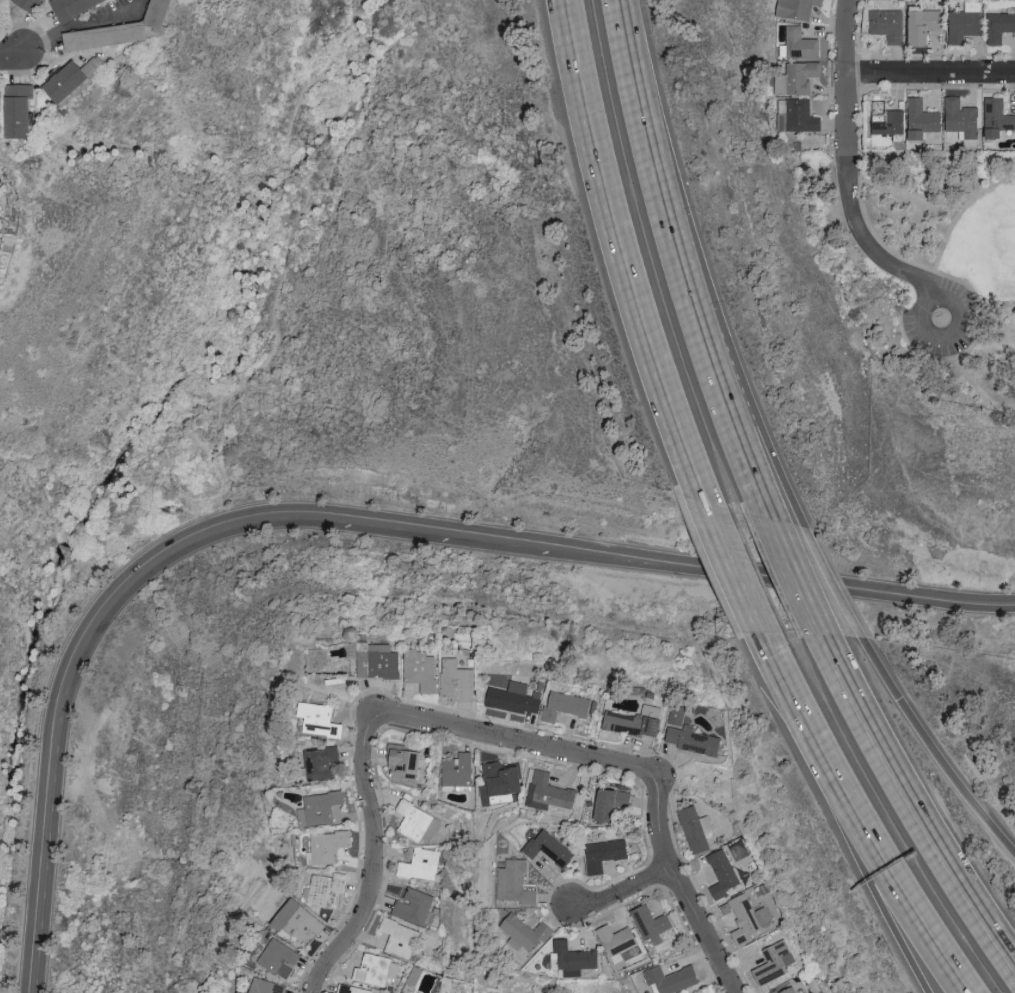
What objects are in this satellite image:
building: (31, 4)
building: (74, 7)
building: (793, 8)
building: (961, 22)
building: (917, 23)
building: (884, 24)
building: (997, 26)
road: (74, 27)
building: (124, 29)
building: (798, 43)
road: (12, 51)
road: (930, 71)
building: (75, 77)
building: (793, 77)
building: (19, 110)
building: (794, 115)
building: (993, 116)
building: (882, 118)
building: (958, 118)
building: (917, 119)
road: (846, 155)
road: (905, 194)
road: (299, 220)
road: (958, 222)
road: (688, 264)
road: (626, 270)
park: (955, 275)
road: (930, 285)
road: (920, 291)
road: (990, 306)
parking lot: (946, 318)
road: (937, 338)
road: (973, 382)
road: (1014, 408)
road: (352, 524)
road: (804, 578)
road: (816, 579)
road: (741, 584)
building: (378, 660)
building: (421, 669)
building: (457, 679)
road: (785, 679)
building: (516, 697)
building: (567, 706)
building: (678, 715)
building: (321, 719)
building: (637, 721)
building: (695, 740)
road: (514, 743)
road: (928, 752)
building: (406, 761)
building: (323, 762)
building: (458, 769)
building: (500, 783)
building: (549, 792)
building: (614, 803)
road: (913, 807)
building: (321, 808)
building: (413, 819)
building: (698, 829)
building: (329, 846)
road: (374, 848)
building: (551, 848)
building: (607, 853)
road: (860, 859)
road: (882, 861)
building: (421, 864)
building: (724, 873)
road: (676, 879)
building: (516, 882)
building: (326, 888)
road: (622, 891)
building: (416, 906)
building: (749, 917)
building: (300, 920)
building: (653, 923)
building: (526, 934)
building: (401, 937)
building: (620, 939)
building: (281, 958)
building: (574, 958)
building: (776, 961)
building: (377, 969)
building: (674, 979)
building: (269, 986)
building: (353, 989)
building: (787, 990)
building: (246, 992)
building: (404, 992)

